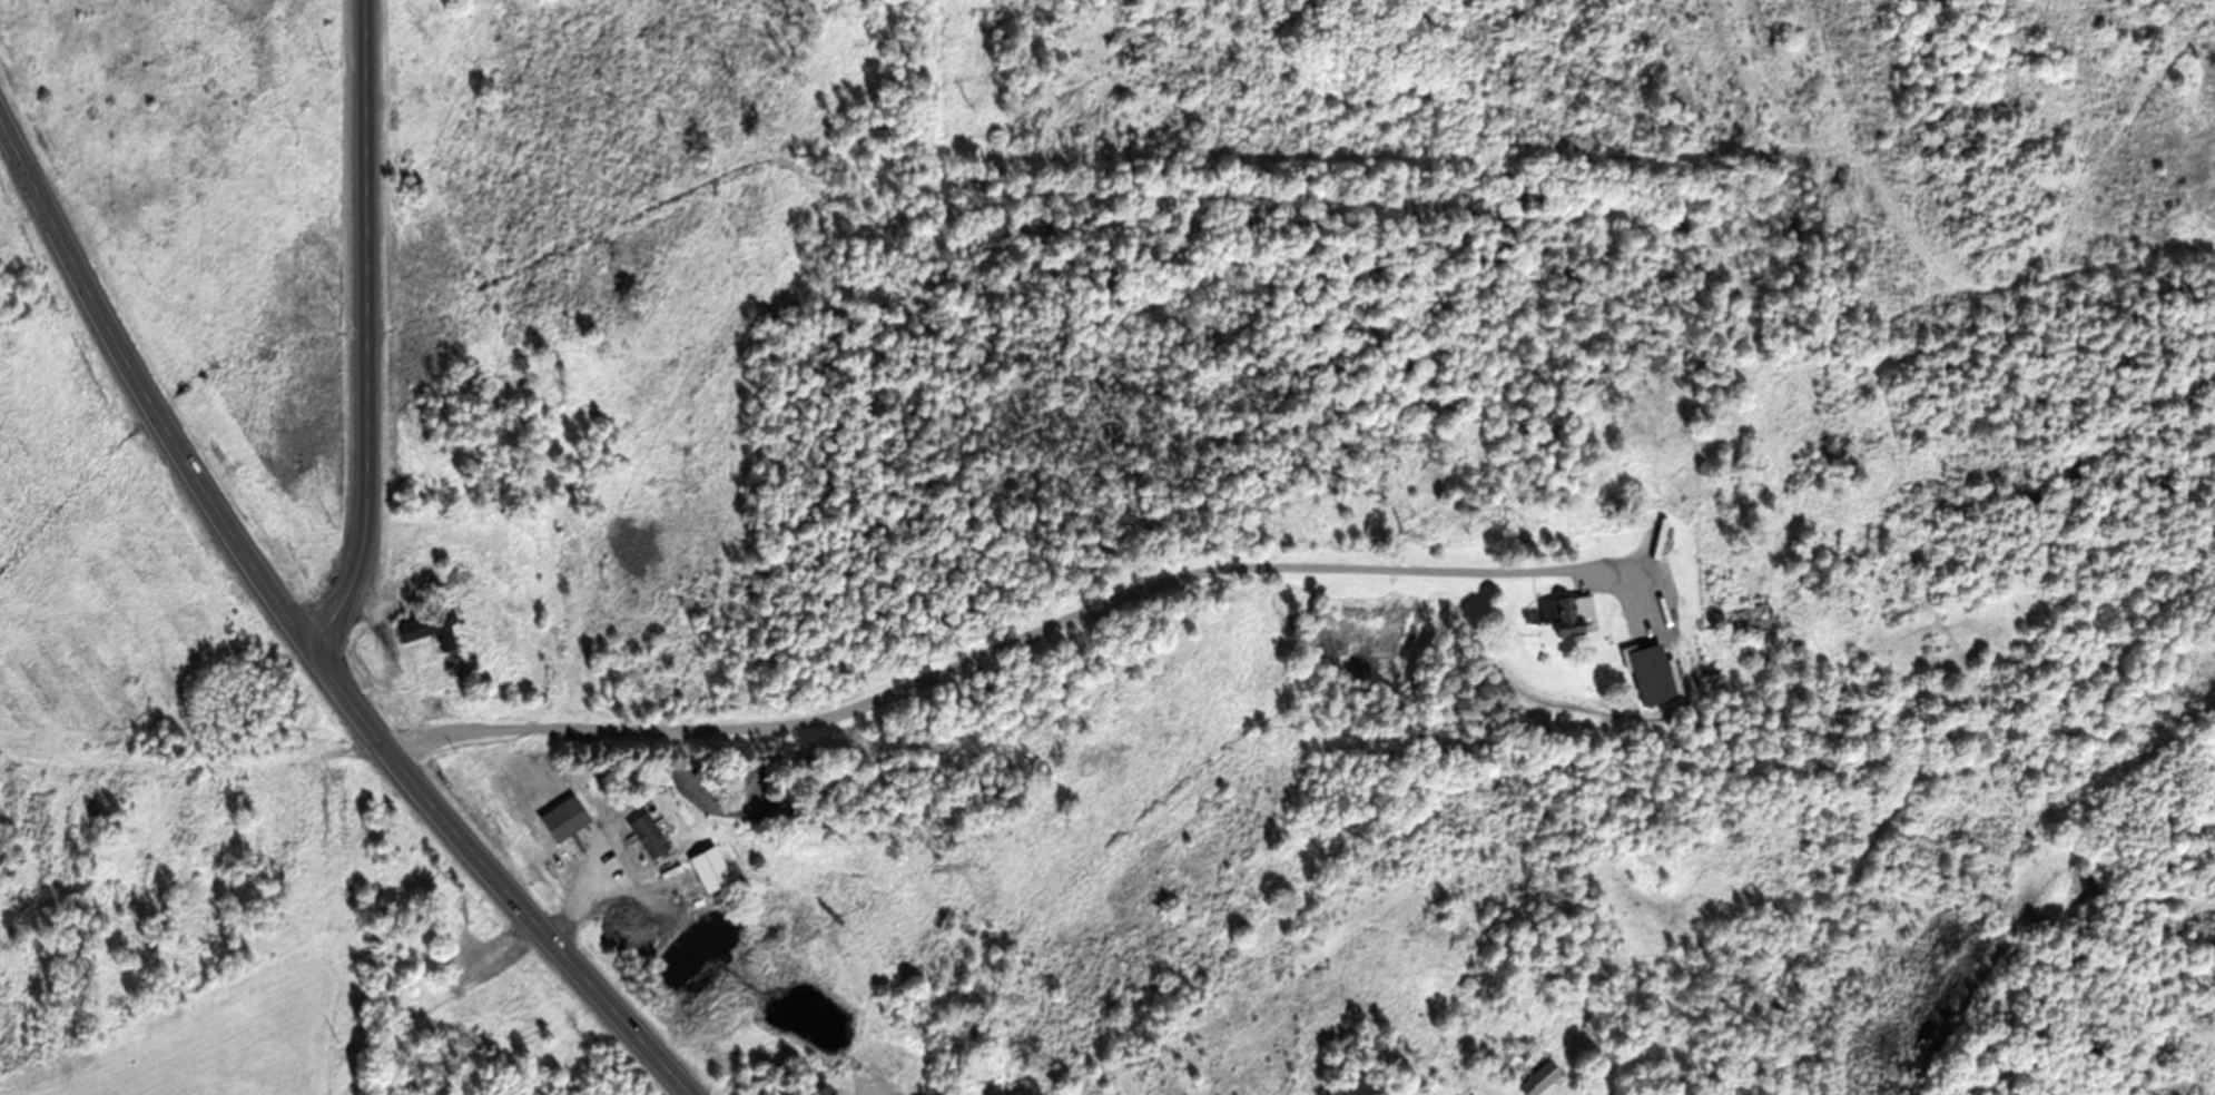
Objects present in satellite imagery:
road: (375, 331)
building: (456, 576)
building: (1655, 590)
building: (1564, 613)
building: (1742, 616)
building: (423, 628)
road: (301, 638)
road: (936, 665)
building: (643, 833)
building: (706, 868)
landfill: (262, 927)
building: (1705, 1067)
building: (1535, 1077)

